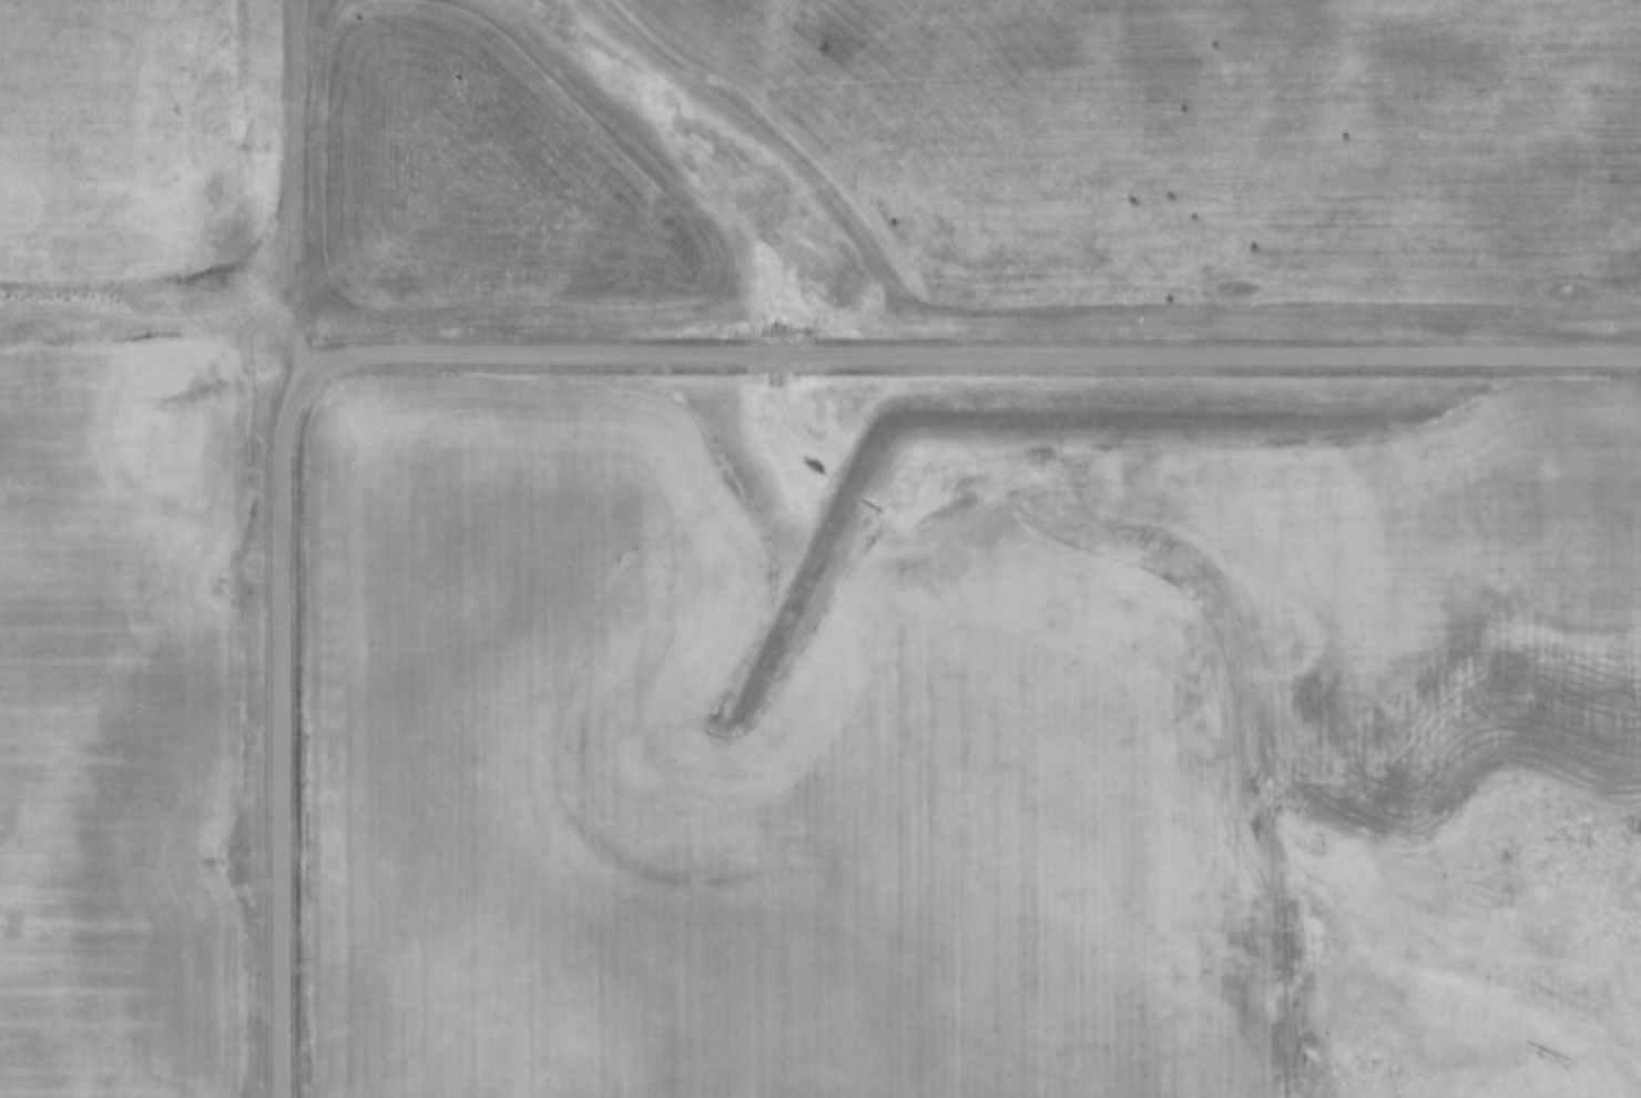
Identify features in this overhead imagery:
road: (298, 207)
road: (313, 349)
road: (989, 353)
road: (306, 378)
road: (277, 755)

